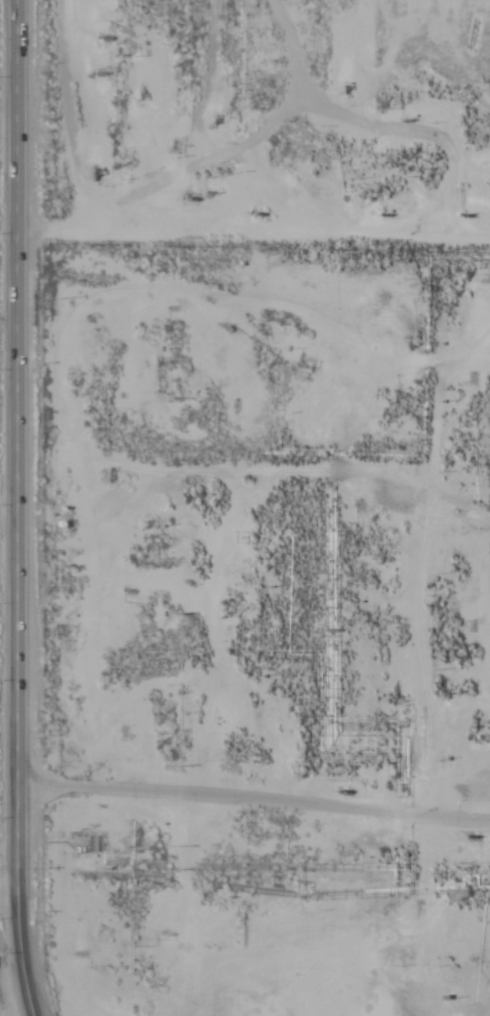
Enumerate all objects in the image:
road: (26, 400)
road: (256, 795)
road: (23, 908)

